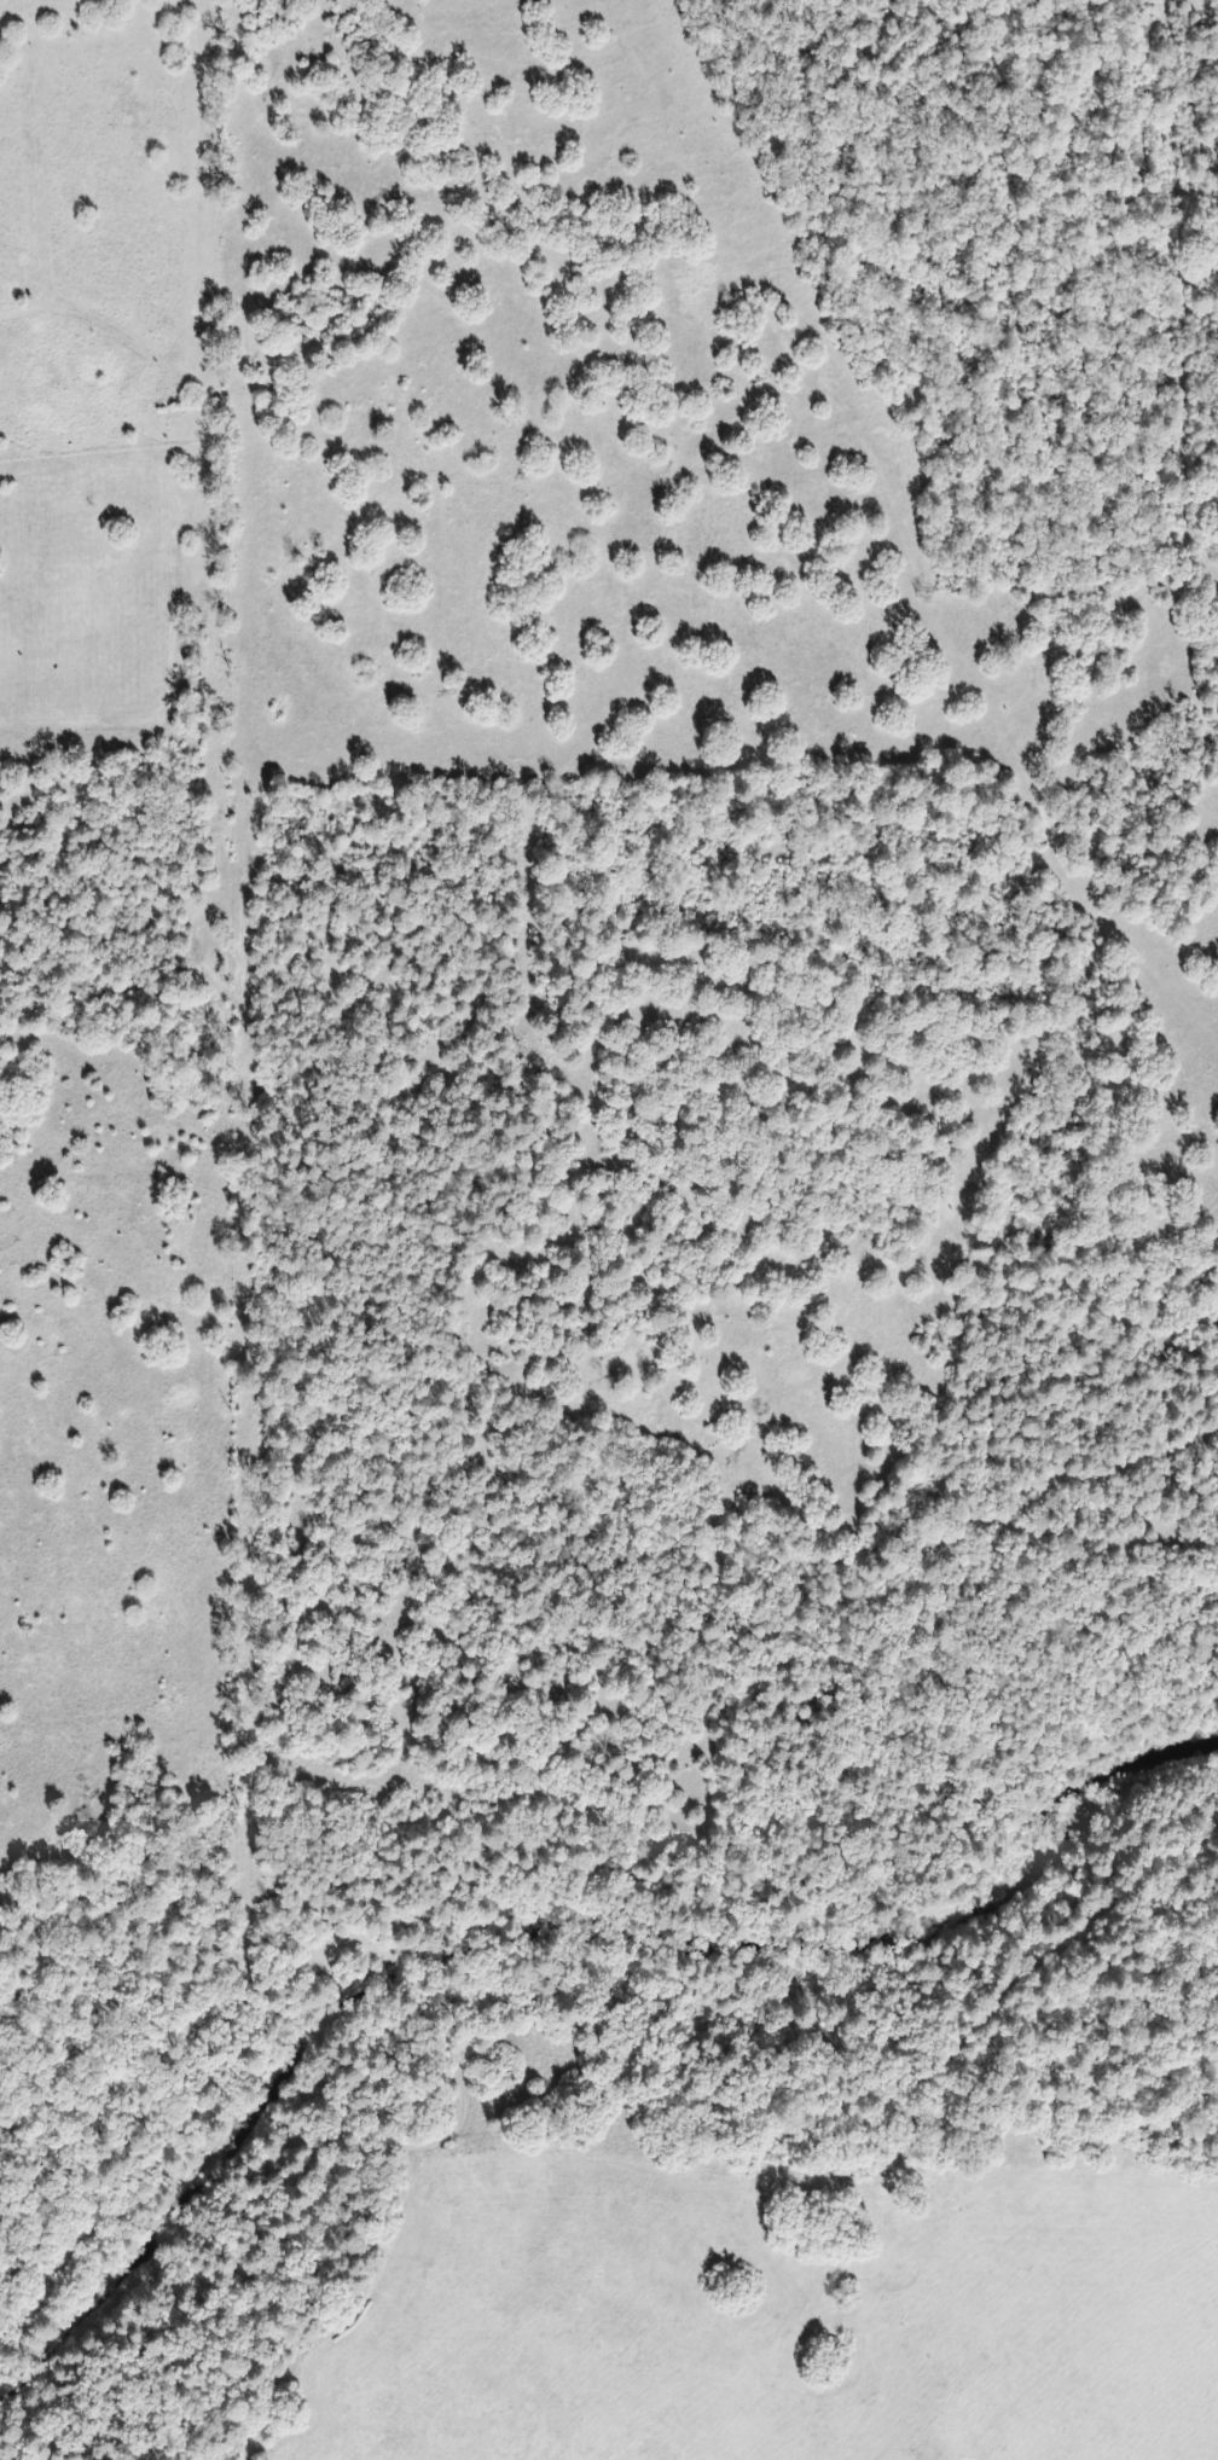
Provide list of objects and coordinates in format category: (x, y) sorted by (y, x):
road: (762, 2234)

